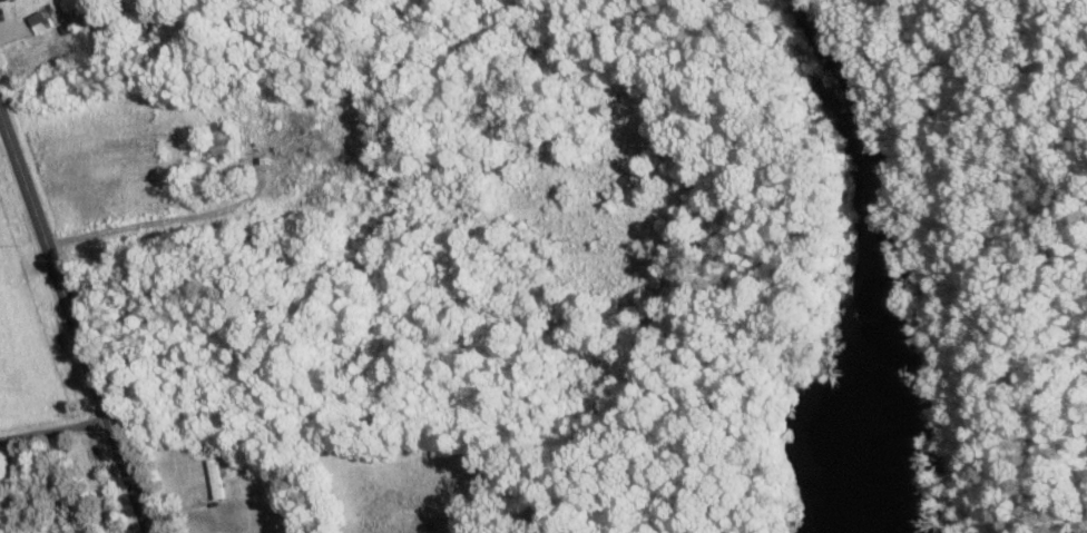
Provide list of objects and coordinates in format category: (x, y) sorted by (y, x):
building: (3, 0)
building: (40, 20)
road: (0, 124)
road: (72, 326)
road: (52, 428)

